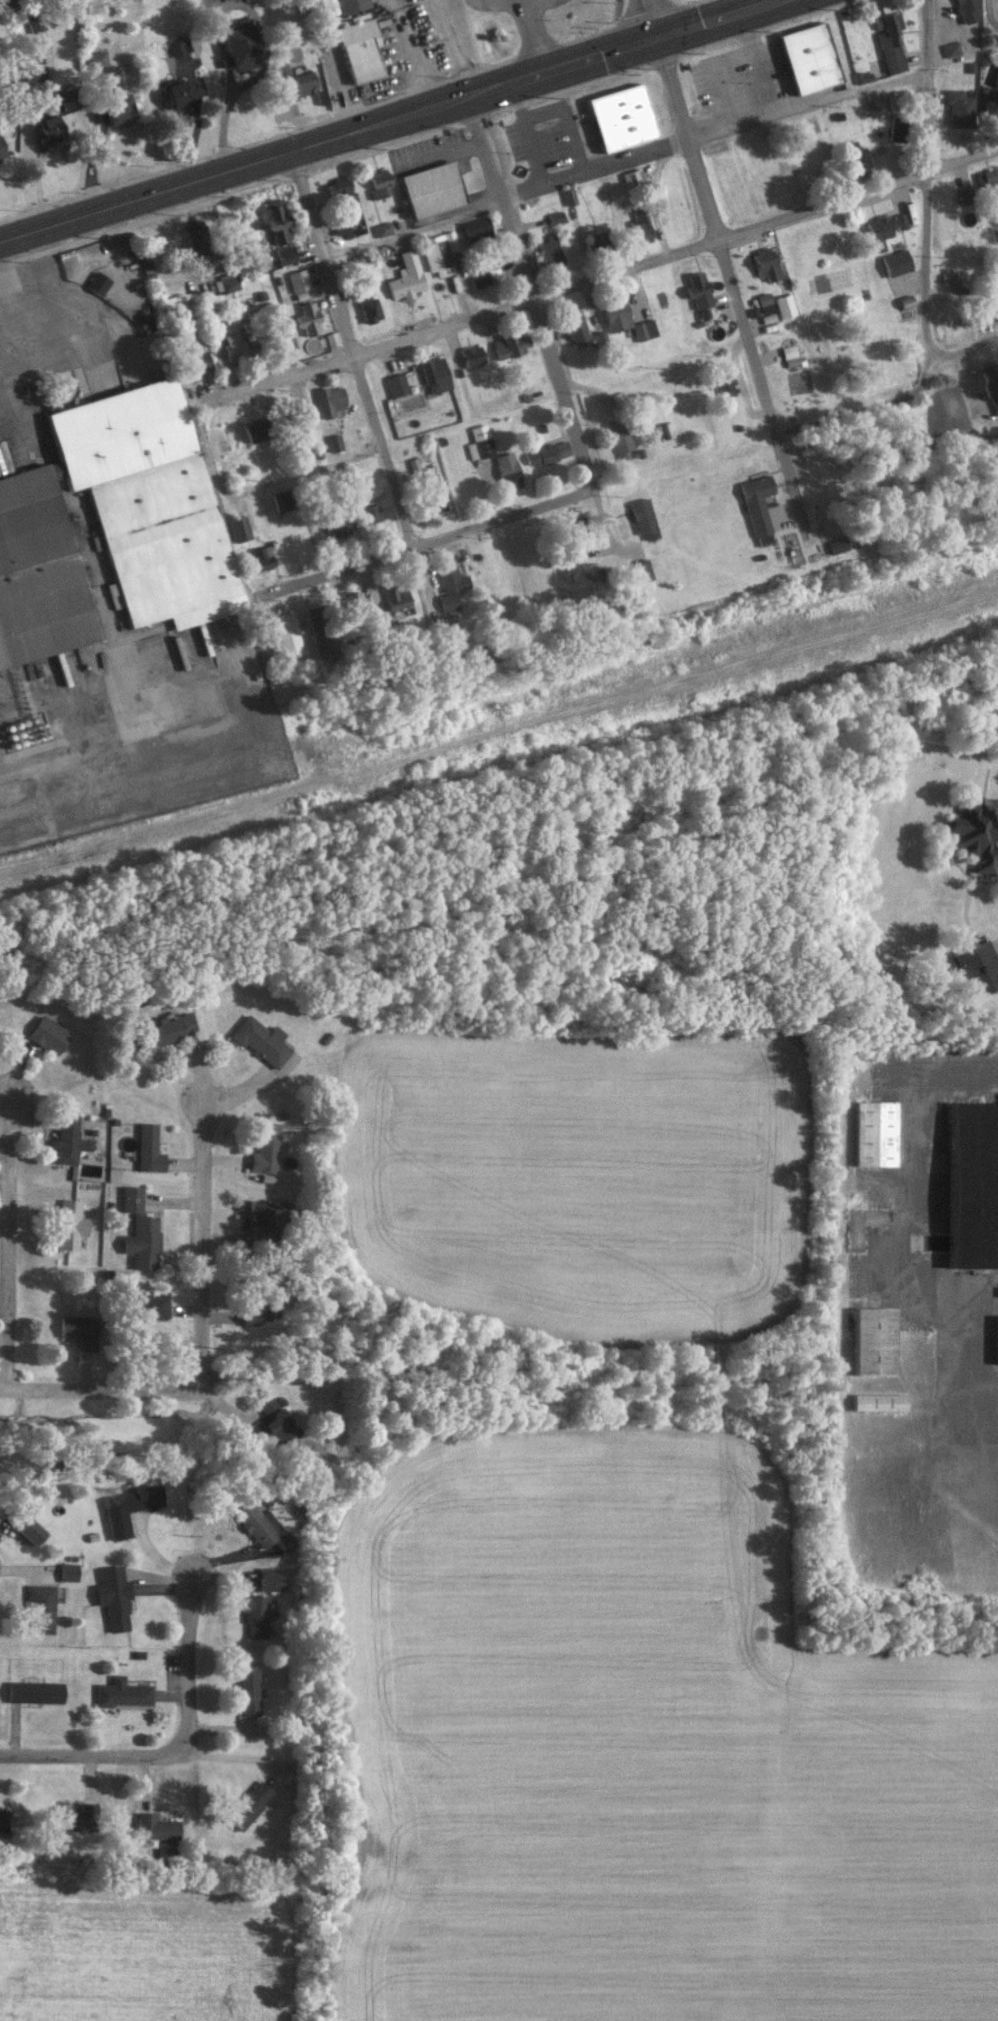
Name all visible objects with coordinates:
road: (523, 1)
building: (351, 5)
building: (968, 10)
road: (648, 19)
building: (34, 23)
road: (530, 36)
traffic signals: (656, 38)
building: (890, 41)
building: (239, 45)
building: (178, 46)
building: (950, 48)
building: (360, 50)
road: (415, 54)
building: (810, 57)
building: (95, 58)
road: (755, 66)
building: (36, 72)
building: (862, 77)
building: (303, 82)
building: (176, 93)
building: (897, 97)
building: (959, 106)
building: (991, 106)
building: (118, 109)
building: (622, 117)
road: (392, 122)
building: (897, 127)
building: (49, 131)
road: (686, 138)
building: (1, 153)
building: (856, 154)
road: (626, 162)
building: (986, 177)
building: (633, 179)
road: (927, 179)
building: (379, 183)
building: (338, 188)
building: (433, 189)
building: (965, 194)
building: (567, 195)
road: (501, 198)
building: (554, 216)
building: (277, 220)
building: (640, 226)
building: (475, 227)
building: (339, 228)
building: (381, 228)
building: (883, 229)
building: (196, 236)
building: (596, 240)
building: (549, 251)
building: (439, 252)
building: (285, 254)
building: (895, 262)
building: (766, 263)
building: (406, 276)
road: (604, 276)
building: (479, 277)
building: (949, 277)
building: (298, 281)
building: (97, 282)
building: (699, 290)
building: (783, 305)
building: (369, 308)
building: (616, 315)
building: (308, 318)
building: (643, 329)
road: (750, 344)
building: (511, 345)
building: (234, 346)
road: (352, 350)
building: (472, 355)
building: (789, 355)
building: (198, 359)
building: (435, 374)
building: (396, 385)
building: (991, 385)
building: (726, 386)
road: (563, 393)
road: (902, 394)
building: (618, 397)
building: (330, 400)
building: (257, 431)
building: (334, 442)
building: (479, 442)
building: (622, 443)
building: (546, 452)
building: (508, 471)
road: (789, 483)
road: (260, 487)
building: (282, 500)
building: (150, 504)
building: (757, 506)
road: (354, 511)
building: (370, 513)
building: (644, 518)
building: (337, 525)
building: (579, 525)
building: (239, 528)
road: (422, 542)
building: (838, 545)
building: (262, 557)
building: (642, 569)
building: (39, 576)
building: (451, 577)
building: (397, 597)
building: (354, 601)
building: (448, 601)
building: (322, 631)
building: (287, 634)
building: (976, 834)
building: (977, 966)
building: (172, 1027)
building: (48, 1034)
building: (261, 1040)
building: (876, 1133)
building: (69, 1139)
building: (148, 1148)
building: (265, 1149)
building: (976, 1185)
building: (262, 1215)
building: (70, 1223)
building: (139, 1230)
road: (6, 1243)
road: (201, 1246)
building: (151, 1305)
building: (257, 1312)
building: (80, 1330)
building: (875, 1340)
road: (95, 1390)
building: (880, 1401)
building: (273, 1421)
building: (128, 1508)
building: (264, 1527)
building: (31, 1531)
building: (68, 1571)
building: (272, 1578)
building: (113, 1597)
building: (41, 1608)
building: (255, 1615)
building: (248, 1689)
building: (35, 1691)
building: (122, 1692)
road: (176, 1748)
building: (249, 1805)
building: (78, 1818)
building: (3, 1820)
building: (155, 1827)
building: (166, 1852)

